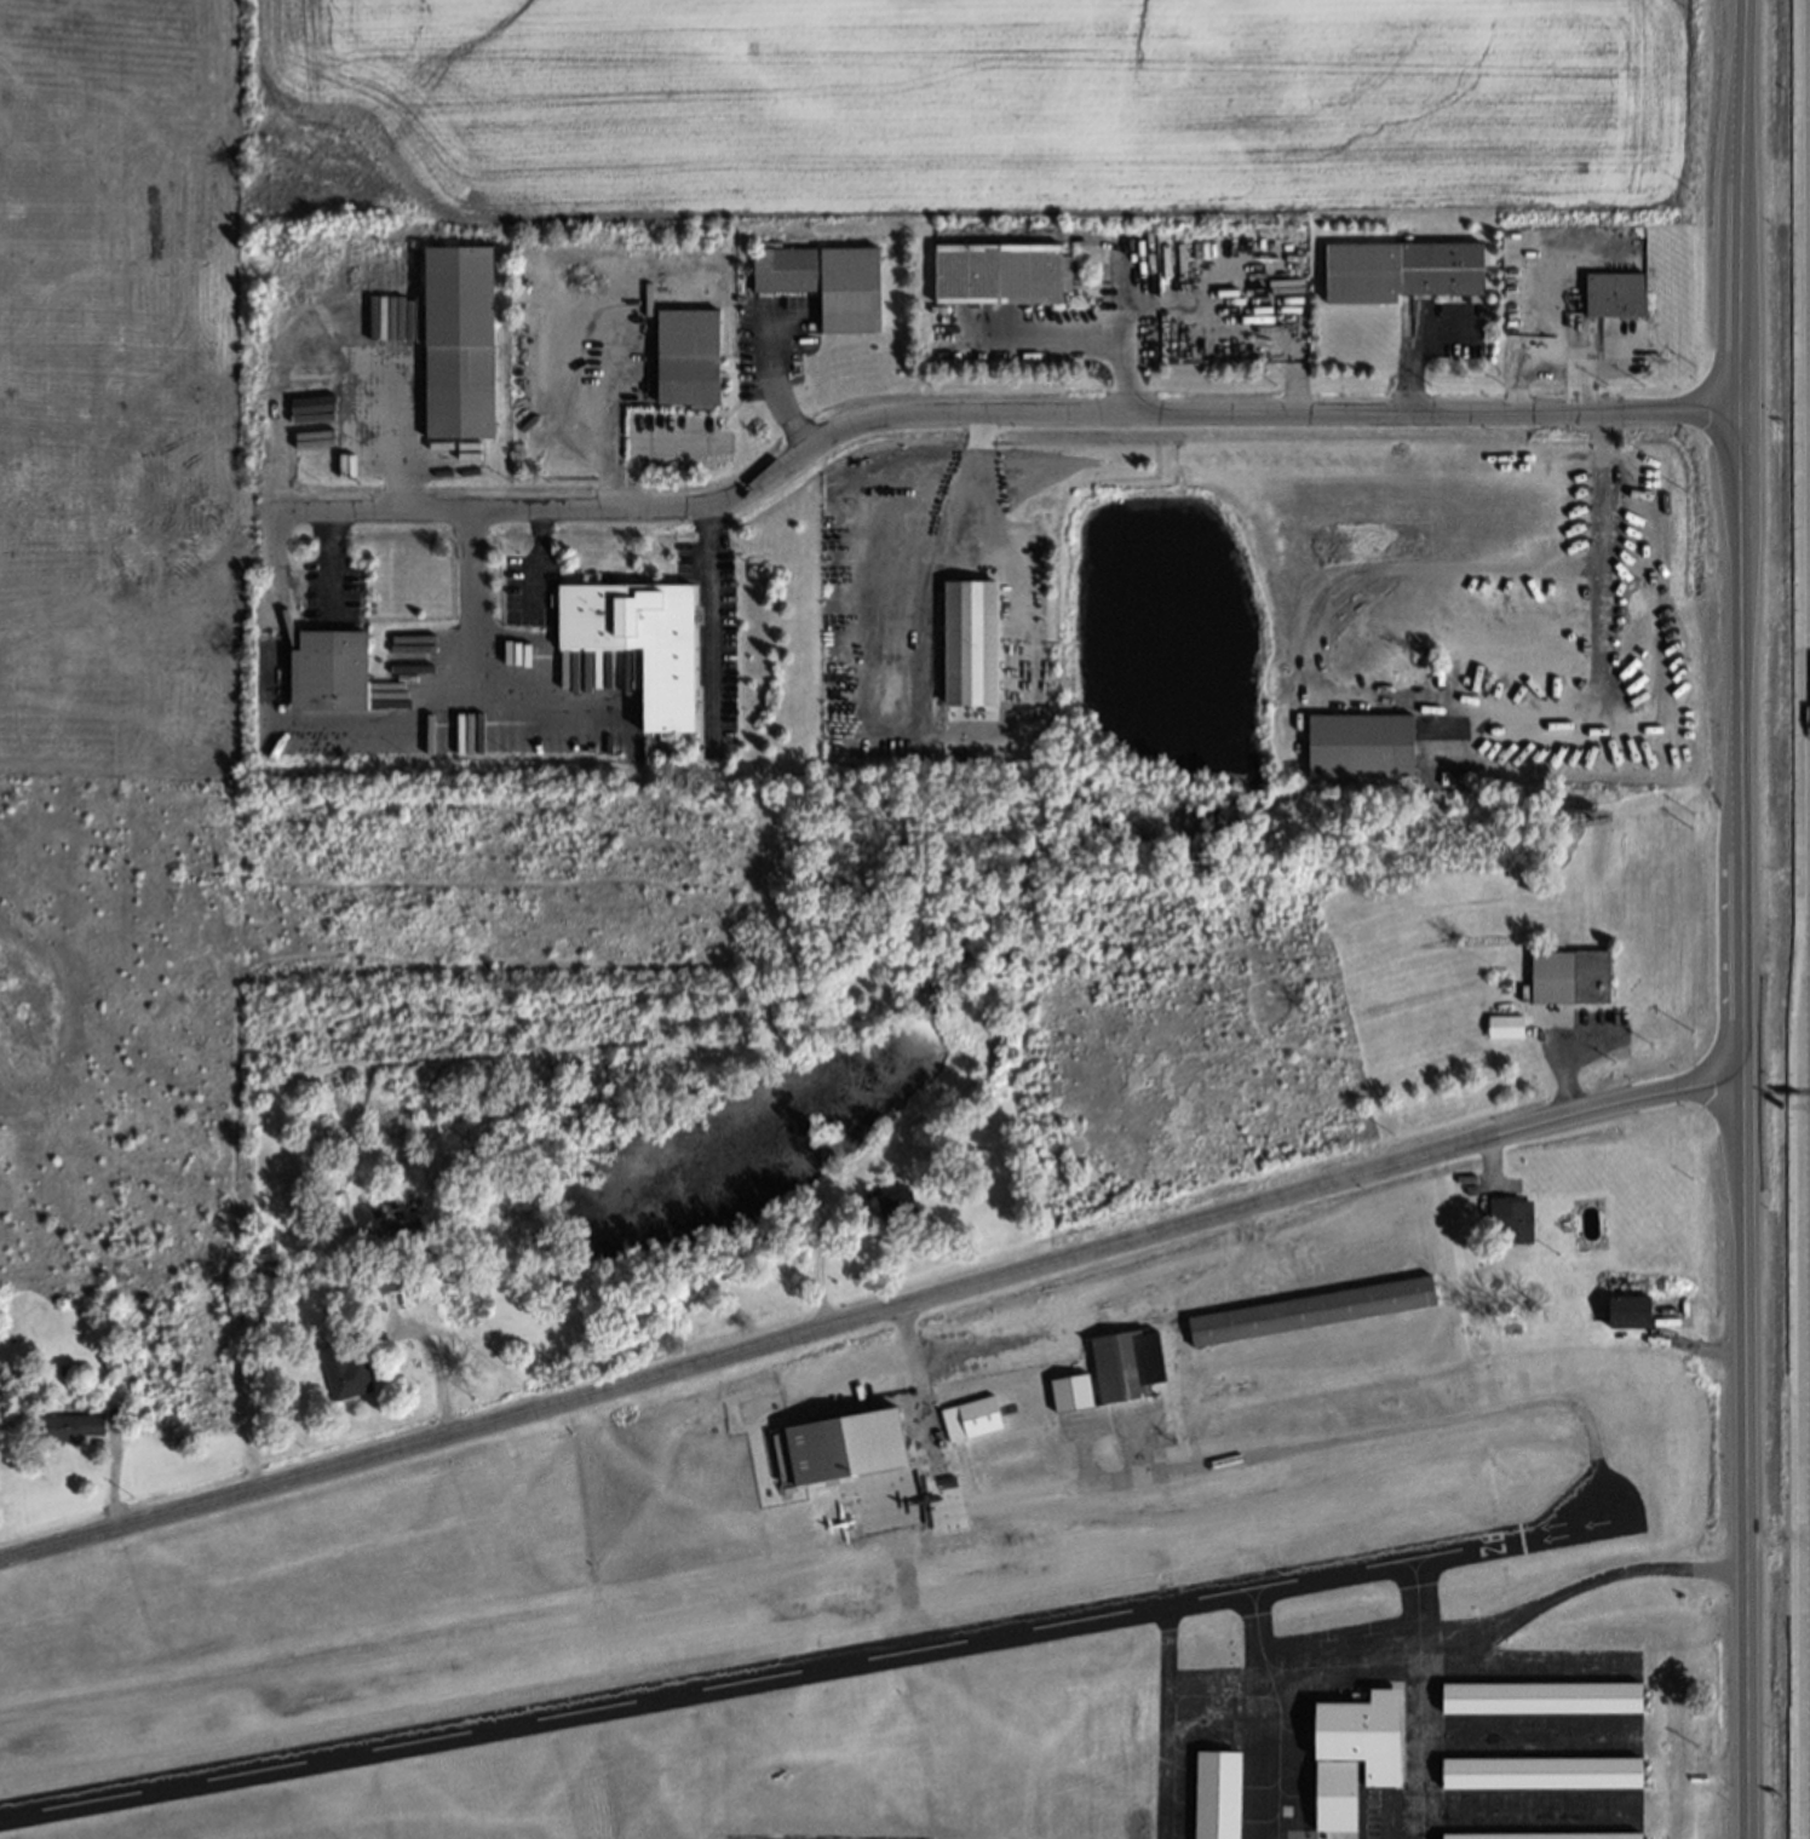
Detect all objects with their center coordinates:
parking lot: (1137, 270)
building: (1402, 271)
building: (1007, 275)
building: (835, 283)
building: (1614, 297)
road: (1134, 324)
parking lot: (1454, 332)
road: (1057, 338)
building: (466, 339)
road: (1417, 340)
parking lot: (783, 341)
parking lot: (1625, 350)
road: (1553, 352)
building: (696, 357)
road: (1624, 369)
road: (782, 383)
road: (1005, 415)
road: (341, 421)
road: (645, 442)
parking lot: (684, 442)
road: (964, 482)
road: (1610, 558)
road: (541, 562)
road: (339, 564)
road: (1469, 575)
parking lot: (535, 593)
parking lot: (340, 597)
road: (274, 611)
road: (473, 625)
road: (717, 628)
road: (1326, 640)
building: (649, 644)
building: (977, 644)
parking lot: (719, 645)
building: (334, 672)
road: (1469, 706)
road: (344, 720)
building: (1368, 745)
parking lot: (1518, 745)
road: (1522, 747)
road: (1747, 919)
building: (1574, 978)
building: (1511, 1028)
parking lot: (1604, 1038)
road: (1563, 1040)
building: (897, 1203)
building: (1511, 1222)
road: (818, 1254)
building: (266, 1270)
airport hangar: (1311, 1310)
building: (1311, 1310)
road: (874, 1311)
building: (1628, 1312)
road: (437, 1362)
airport hangar: (1127, 1364)
building: (1127, 1364)
building: (345, 1370)
road: (881, 1373)
parking lot: (856, 1380)
airport hangar: (1073, 1392)
building: (1073, 1392)
airport hangar: (971, 1418)
building: (971, 1418)
airport apron: (1119, 1418)
building: (74, 1425)
airport taxiway: (1132, 1442)
airport hangar: (852, 1443)
building: (852, 1443)
airport taxiway: (1309, 1443)
airport taxiway: (1080, 1447)
airport taxiway: (966, 1475)
airport apron: (886, 1496)
airport taxiway: (1418, 1562)
airport taxiway: (908, 1584)
airport: (960, 1584)
airport taxiway: (1254, 1594)
airport runway: (603, 1622)
road: (1494, 1631)
airport taxiway: (1259, 1644)
airport taxiway: (1418, 1657)
airport taxiway: (1387, 1661)
airport runway: (762, 1677)
airport taxiway: (1270, 1682)
airport hangar: (1542, 1697)
building: (1542, 1697)
airport taxiway: (1176, 1699)
airport taxiway: (1277, 1713)
airport taxiway: (1172, 1719)
airport apron: (1519, 1731)
airport taxiway: (1418, 1743)
airport terminal: (1354, 1753)
building: (1354, 1753)
airport hangar: (1542, 1771)
building: (1542, 1771)
airport hangar: (1218, 1794)
building: (1218, 1794)
parking lot: (1377, 1809)
airport hangar: (1545, 1835)
building: (1545, 1835)

